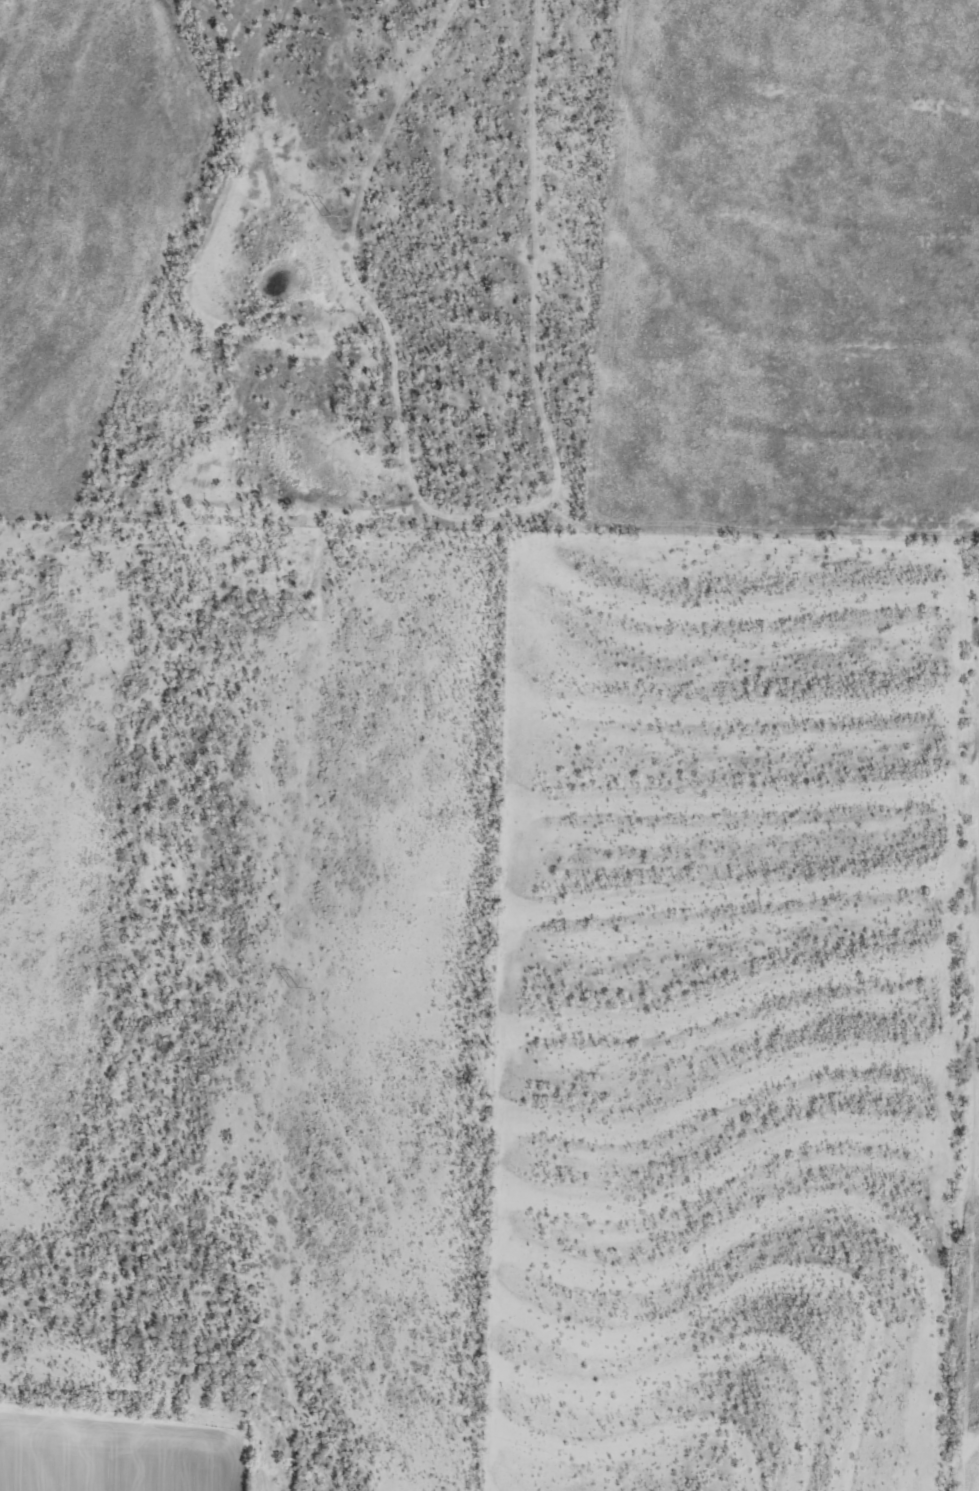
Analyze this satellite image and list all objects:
power tower: (326, 215)
power tower: (296, 619)
power tower: (290, 989)
power tower: (277, 1377)

